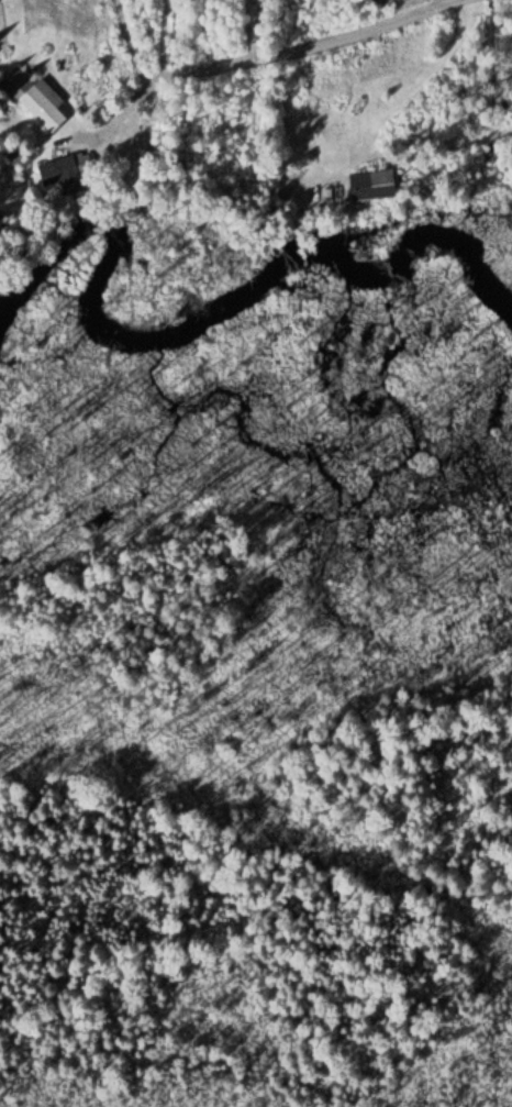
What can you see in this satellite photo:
road: (269, 56)
road: (416, 79)
building: (42, 100)
building: (63, 166)
building: (377, 186)
river: (218, 306)

